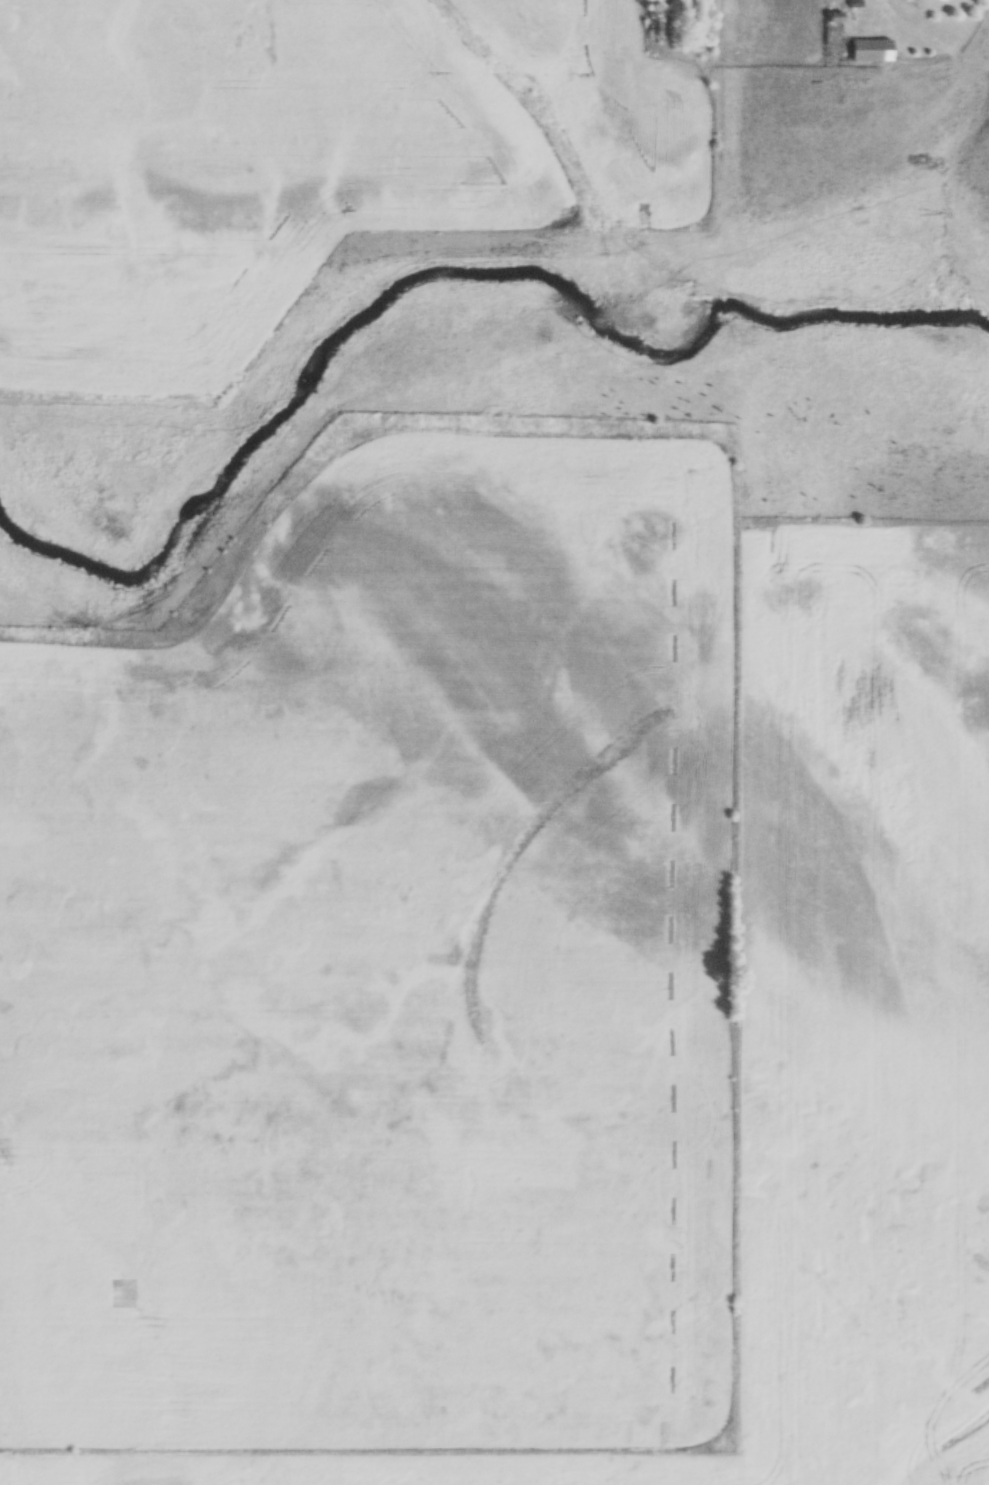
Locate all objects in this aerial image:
building: (832, 18)
building: (866, 51)

